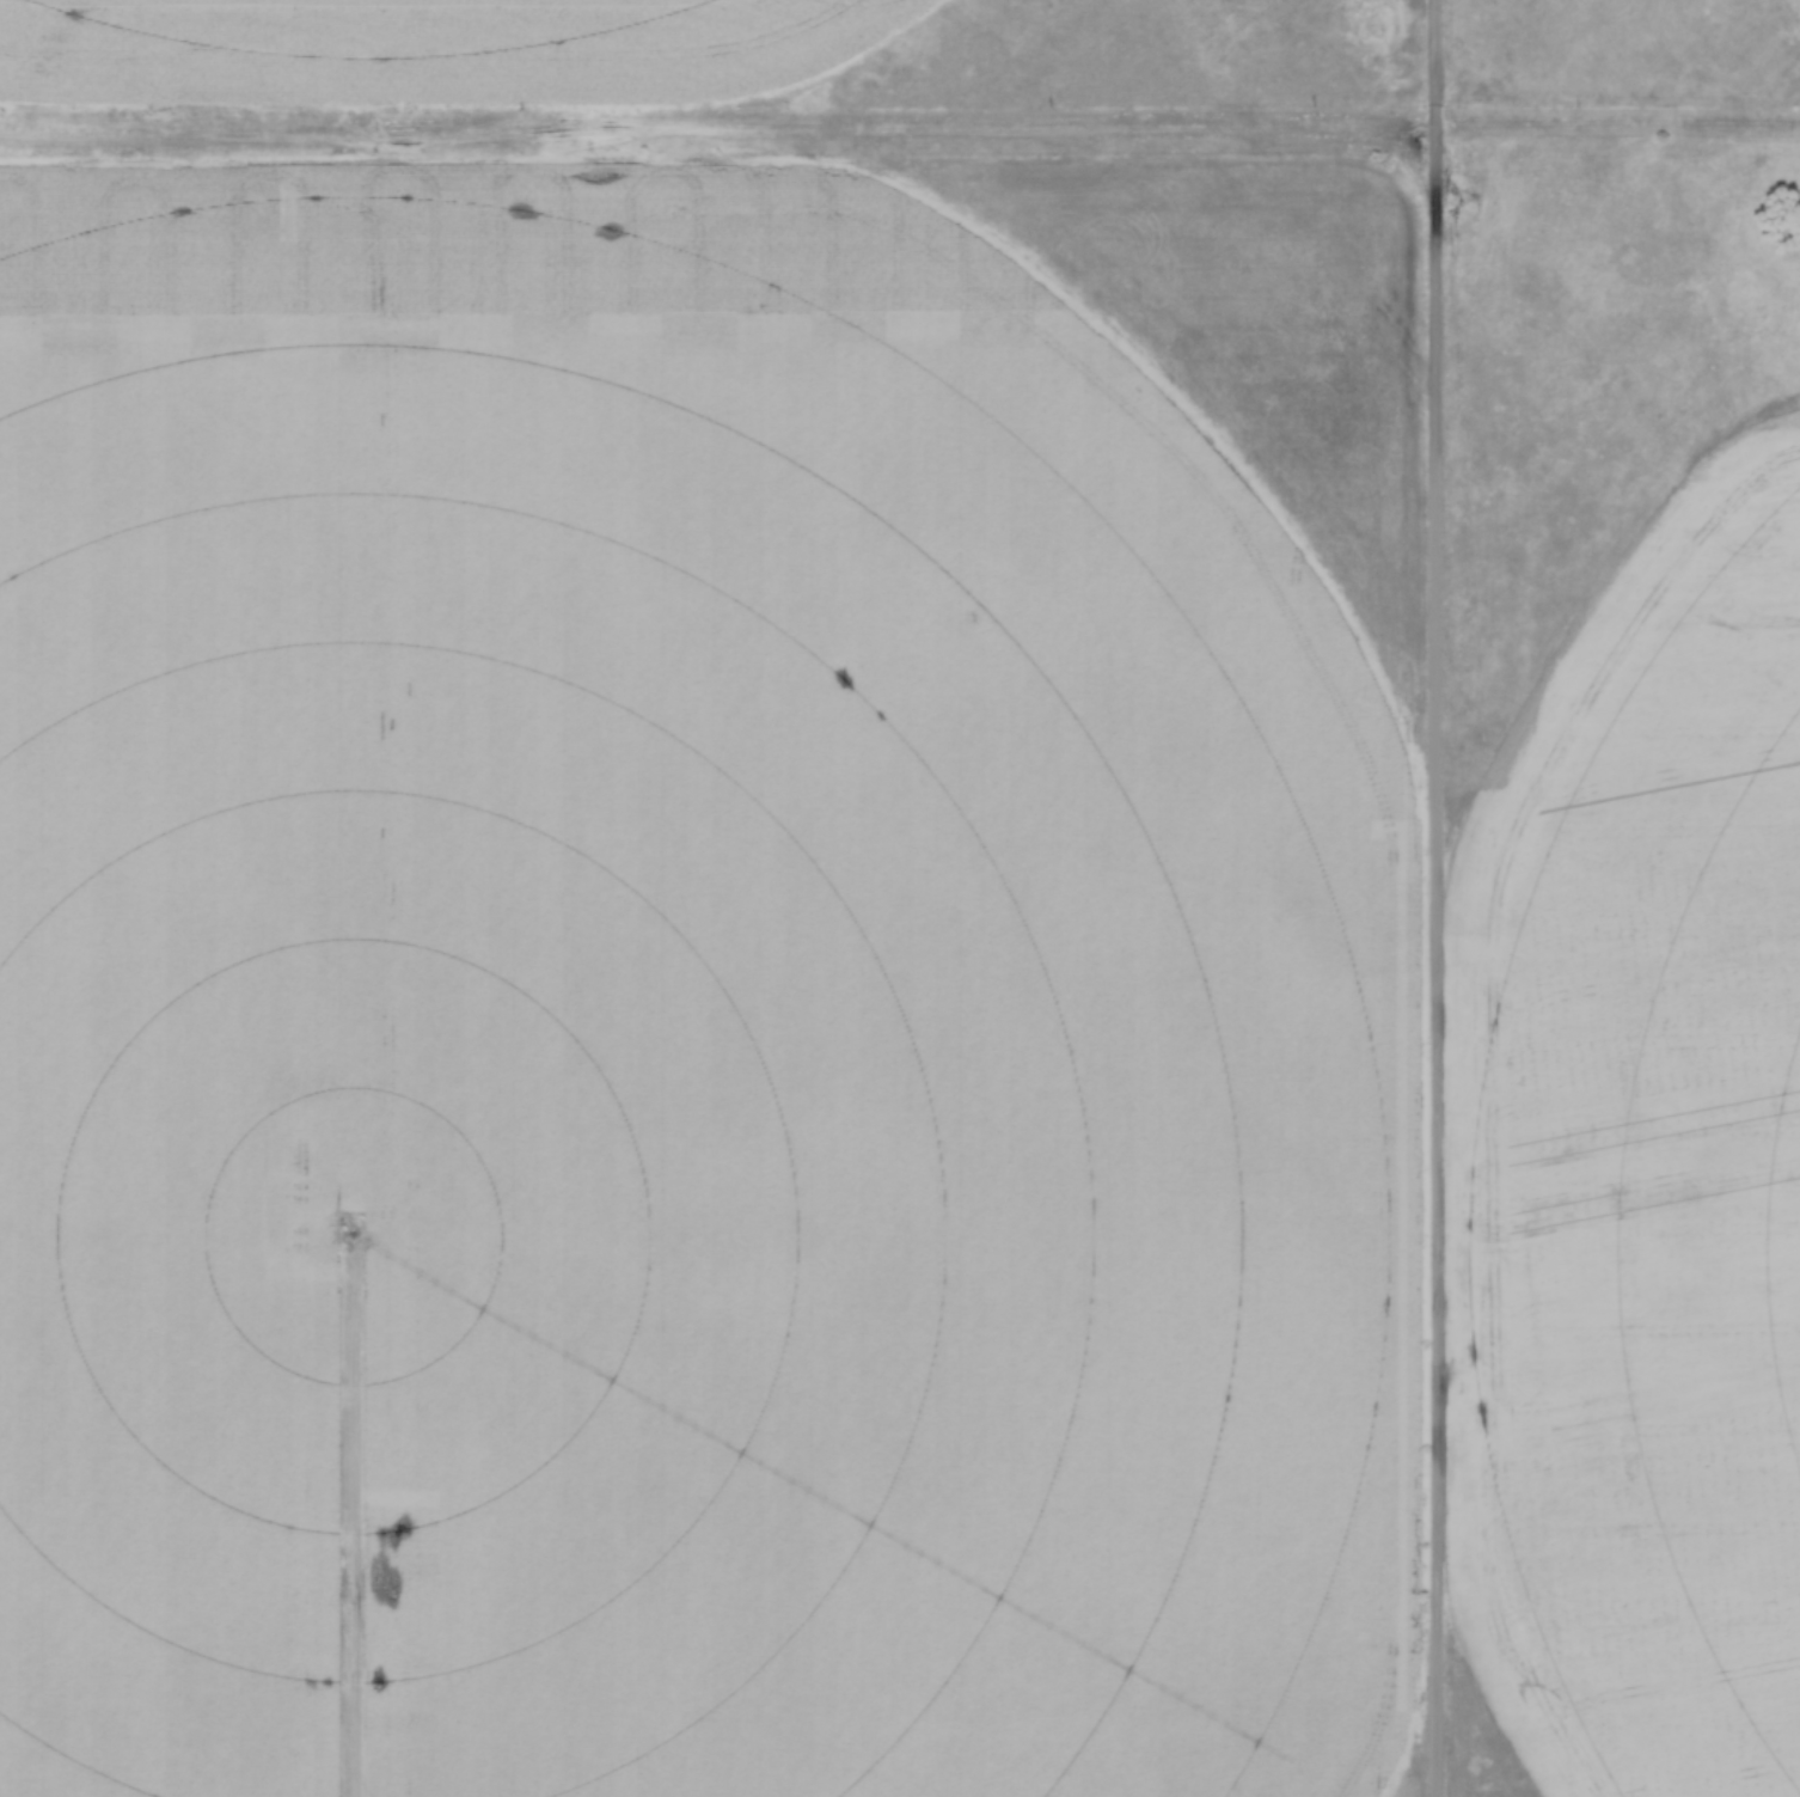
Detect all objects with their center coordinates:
road: (1434, 66)
road: (717, 140)
road: (1434, 964)

